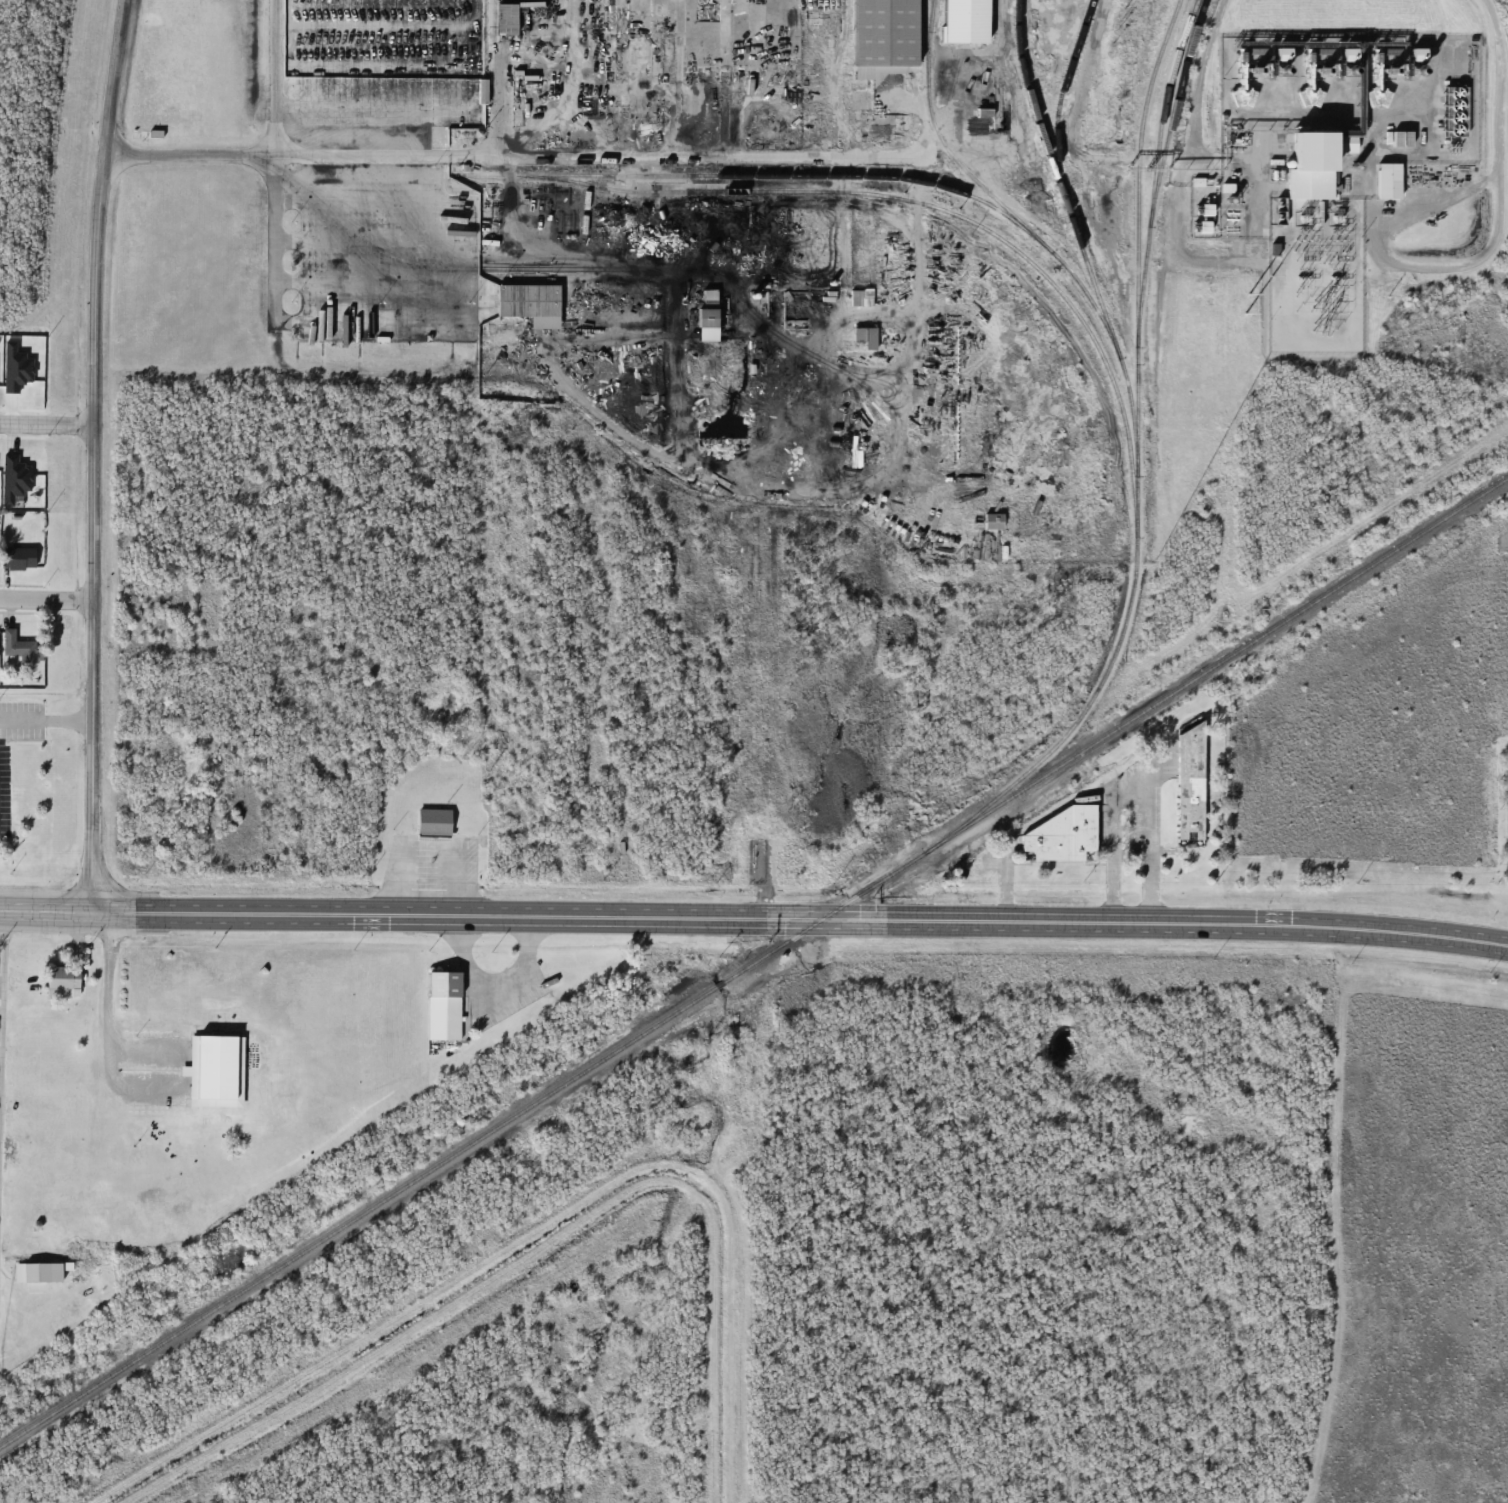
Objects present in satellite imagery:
building: (965, 21)
building: (511, 22)
road: (376, 25)
building: (882, 31)
building: (593, 41)
parking lot: (391, 62)
road: (376, 67)
railway: (1175, 99)
road: (430, 108)
power plant: (1331, 116)
building: (1402, 138)
railway: (1157, 156)
road: (594, 157)
road: (276, 160)
building: (1312, 166)
building: (1389, 181)
building: (644, 184)
railway: (936, 208)
railway: (1138, 219)
building: (754, 243)
road: (374, 244)
road: (472, 261)
parking lot: (384, 262)
power substation: (1312, 272)
railway: (1076, 278)
road: (373, 283)
building: (855, 294)
building: (529, 300)
building: (708, 314)
building: (866, 337)
building: (738, 418)
road: (47, 425)
road: (95, 455)
building: (18, 557)
road: (47, 599)
building: (17, 648)
road: (47, 689)
railway: (1115, 729)
building: (1190, 784)
building: (434, 822)
building: (1058, 836)
road: (45, 911)
road: (800, 919)
building: (65, 975)
railway: (719, 984)
building: (444, 1006)
road: (2, 1031)
building: (215, 1071)
railway: (357, 1217)
building: (45, 1271)

